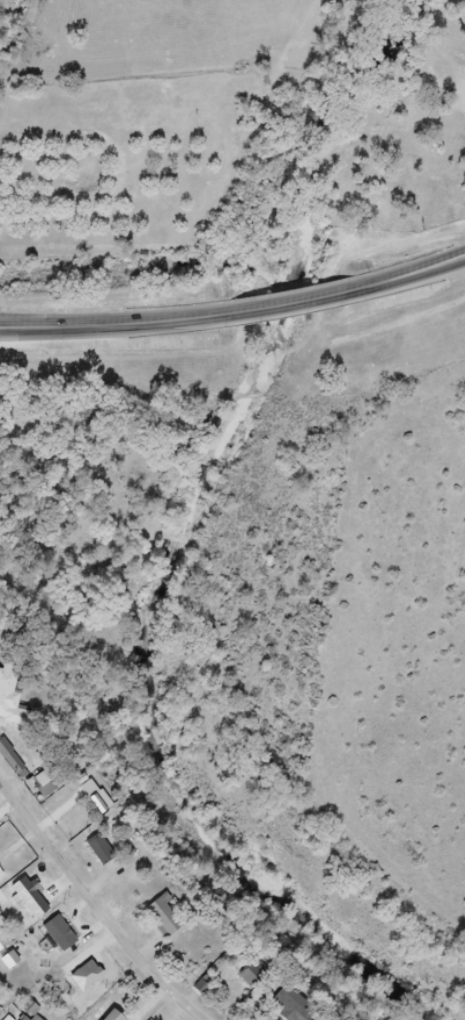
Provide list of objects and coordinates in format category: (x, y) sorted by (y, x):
road: (402, 278)
road: (270, 308)
road: (100, 325)
building: (14, 709)
building: (16, 765)
building: (48, 783)
building: (57, 795)
building: (109, 860)
building: (4, 881)
building: (39, 906)
road: (95, 910)
building: (171, 926)
building: (69, 942)
building: (6, 947)
building: (12, 961)
building: (18, 966)
building: (256, 973)
building: (93, 983)
building: (39, 1013)
building: (287, 1014)
building: (23, 1018)
building: (122, 1018)
building: (15, 1019)
building: (30, 1019)

